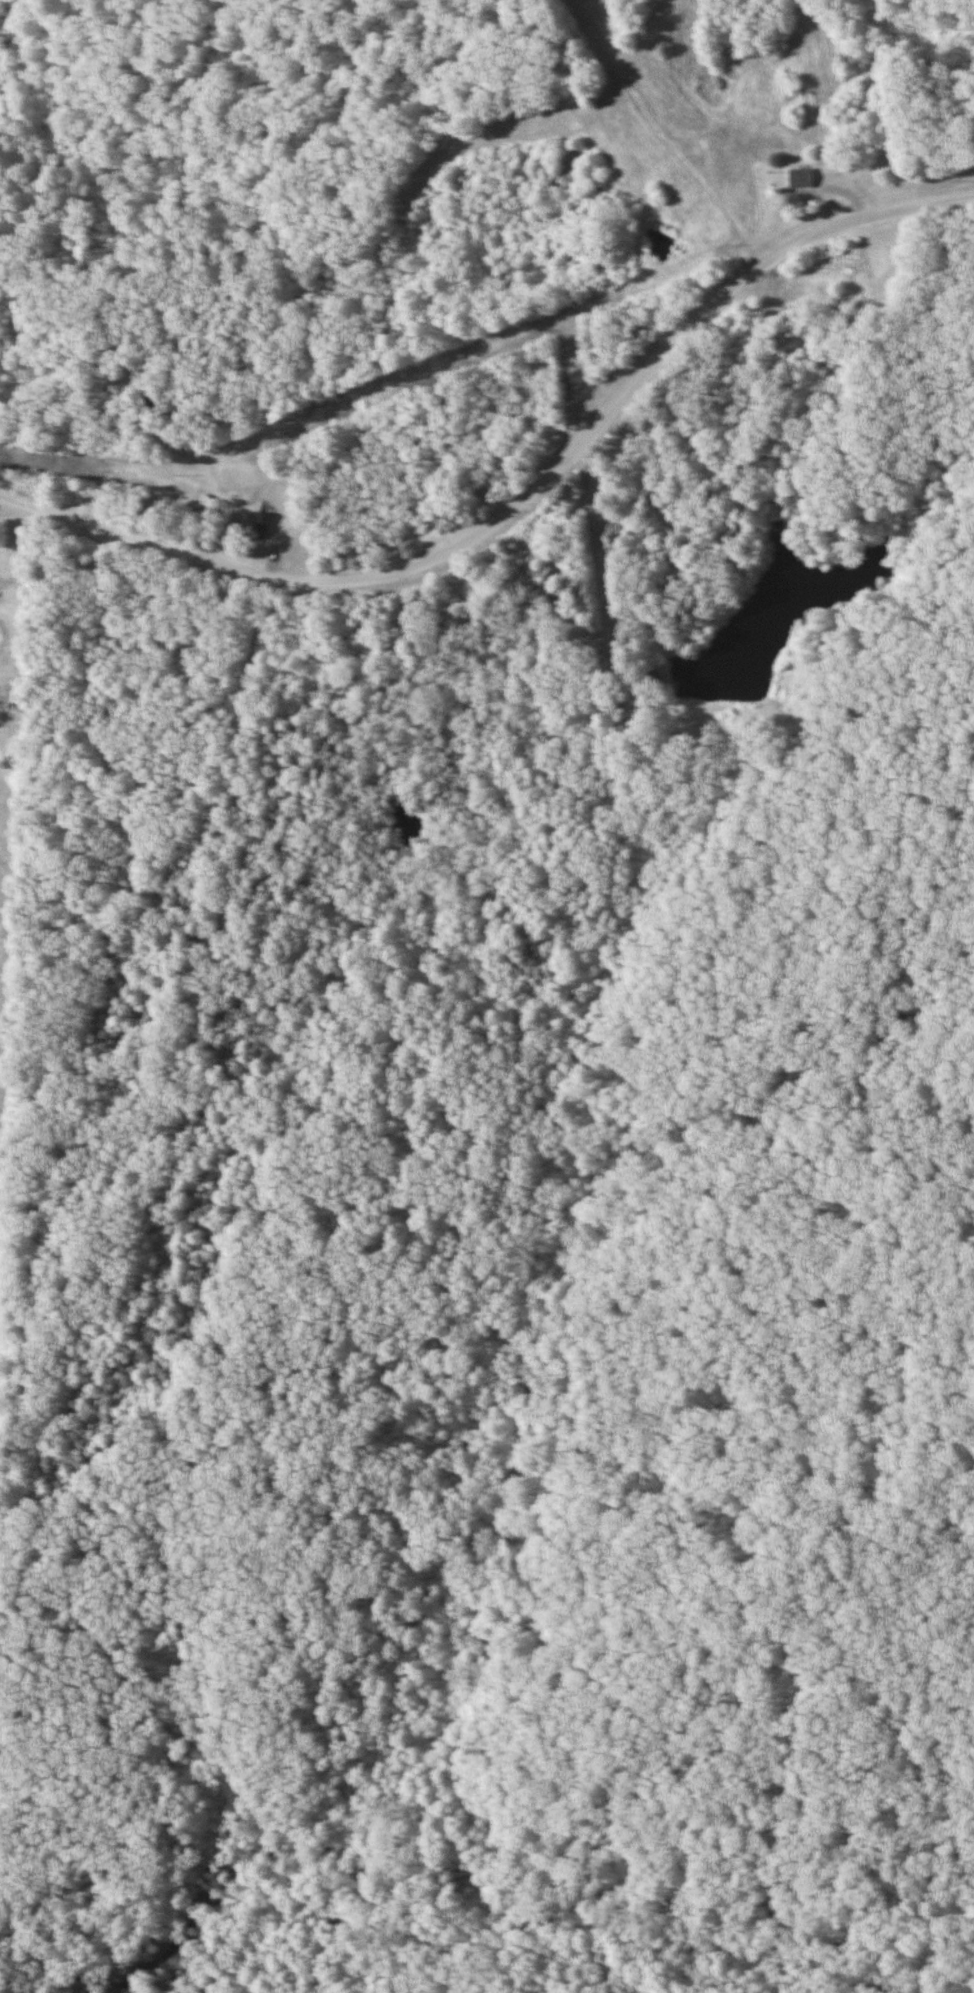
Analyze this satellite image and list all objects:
road: (511, 118)
road: (660, 133)
building: (799, 178)
road: (525, 491)
building: (248, 523)

